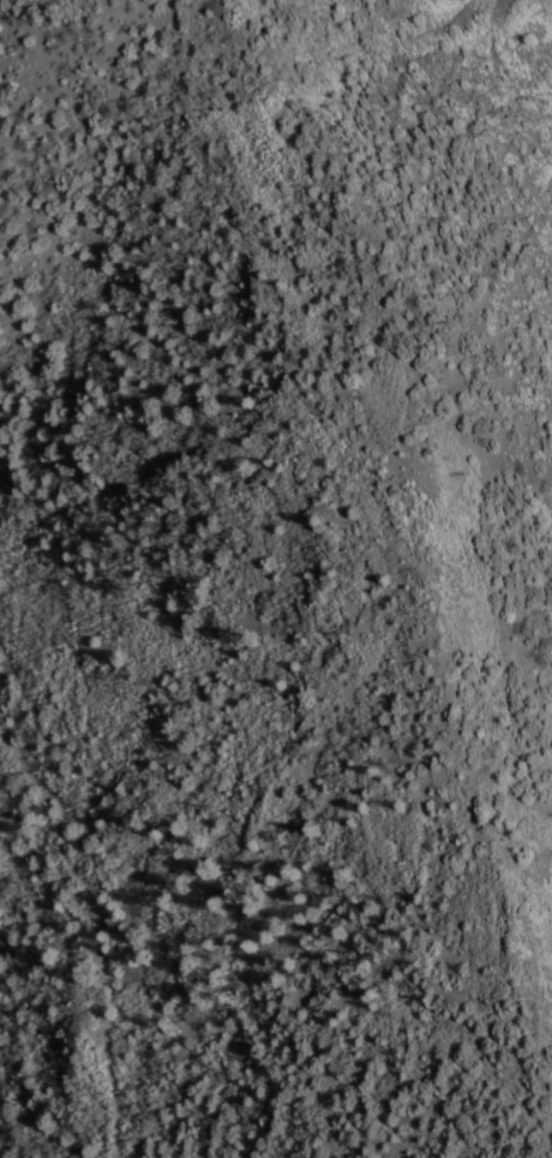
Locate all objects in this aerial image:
road: (26, 859)

